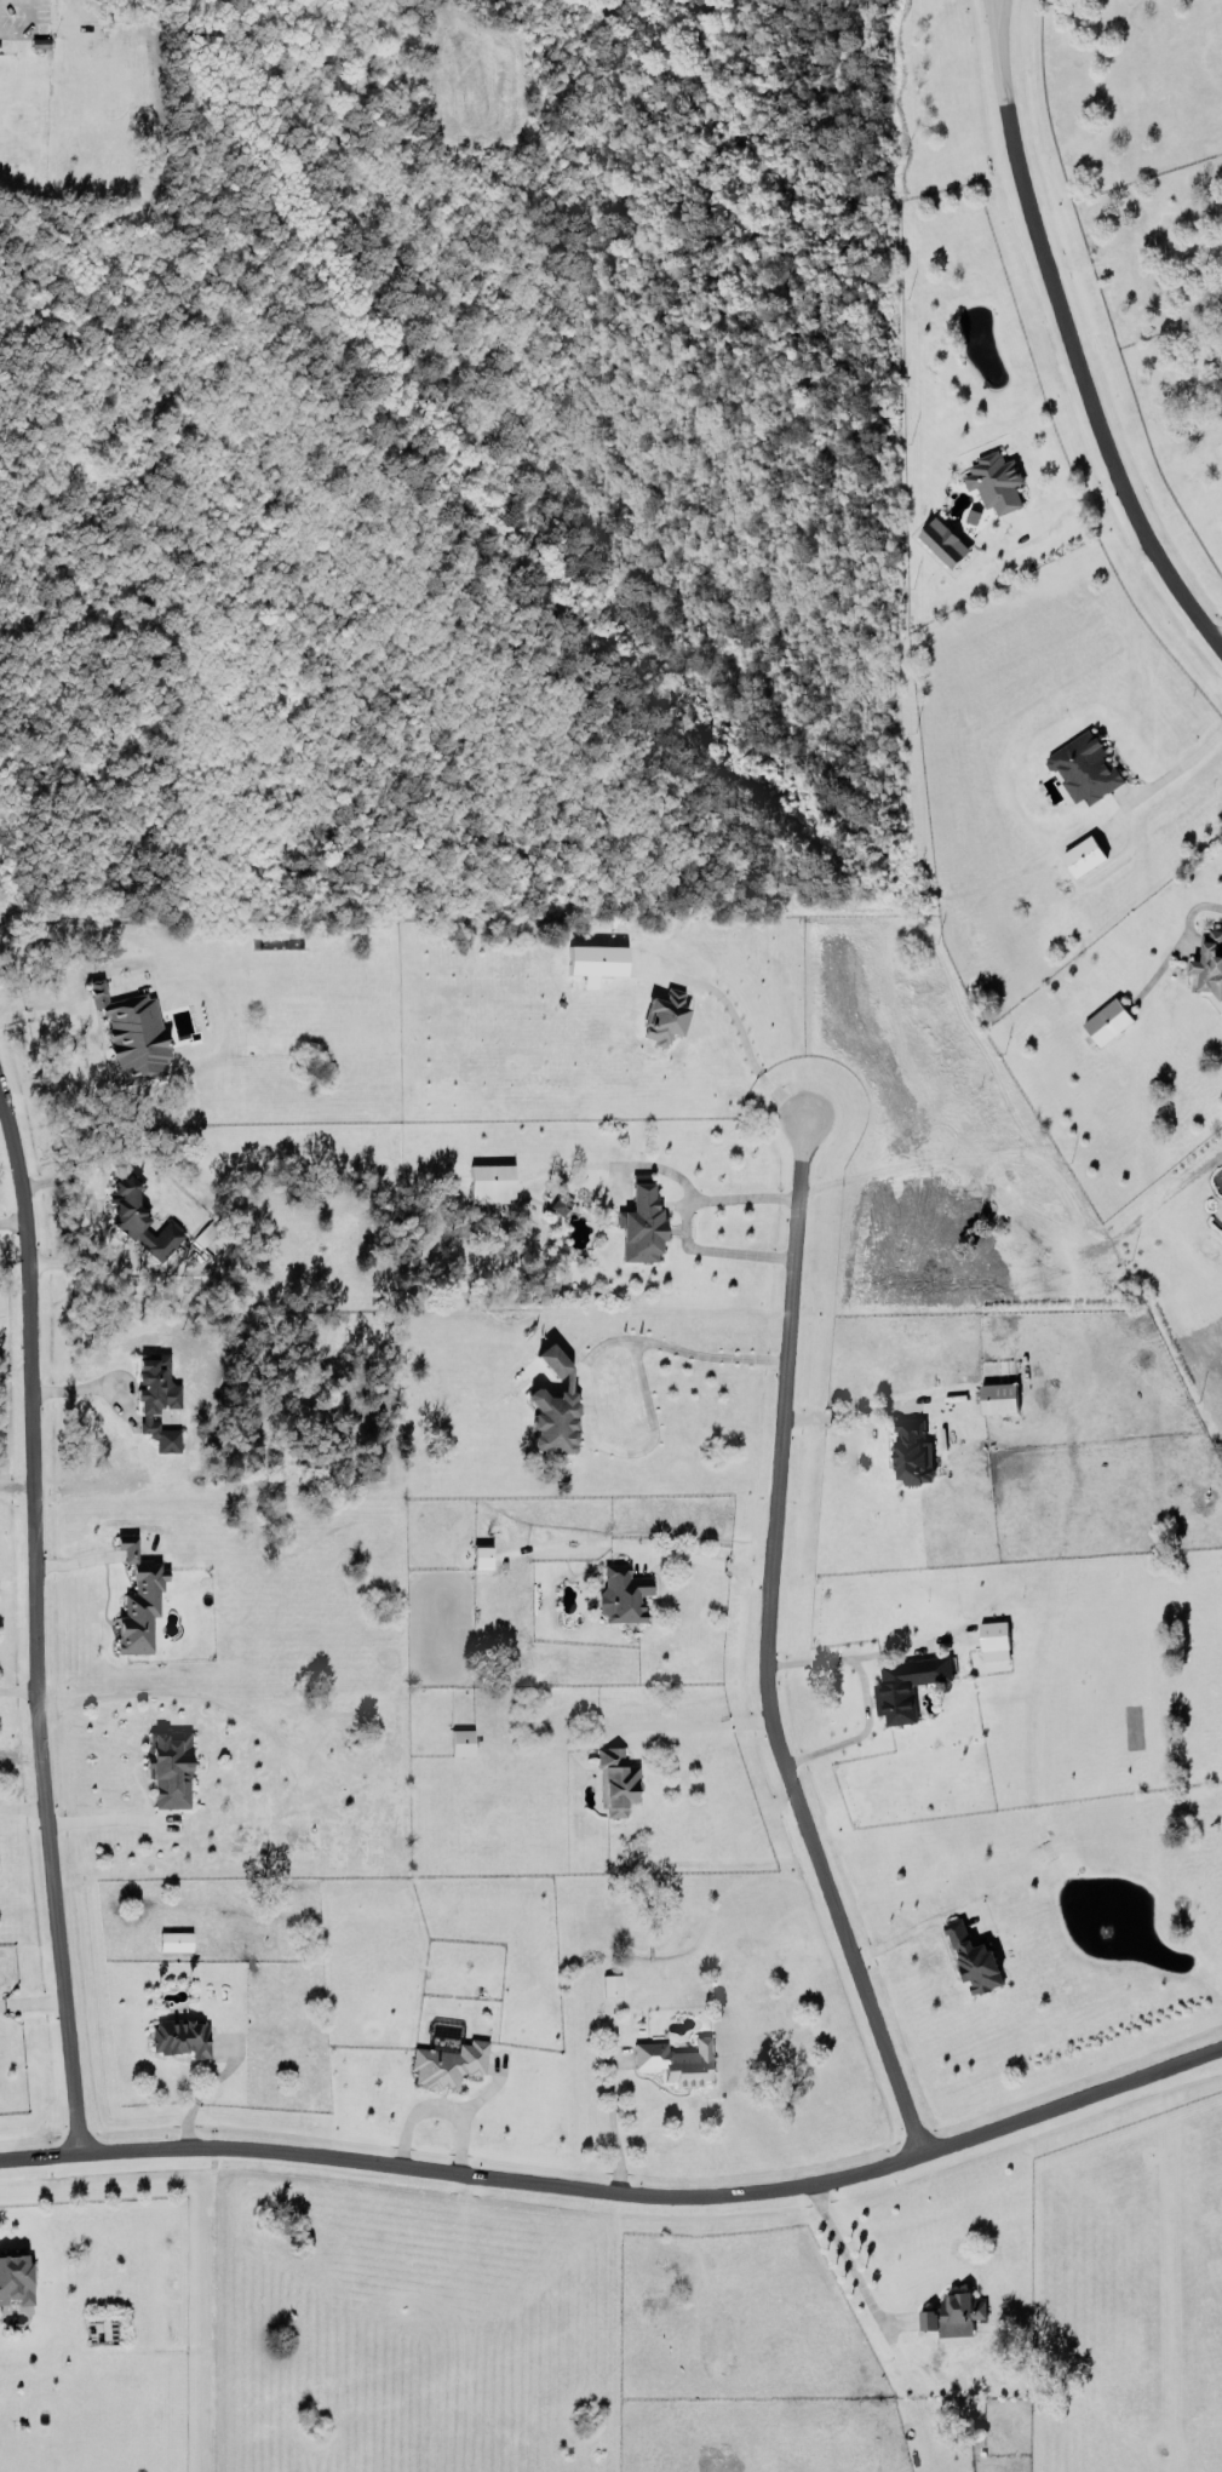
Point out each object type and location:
road: (23, 25)
road: (453, 28)
road: (1067, 340)
building: (994, 477)
building: (943, 540)
road: (1218, 641)
road: (1181, 762)
building: (1084, 763)
building: (1083, 854)
road: (1177, 939)
building: (595, 959)
building: (1210, 965)
road: (44, 1010)
building: (662, 1015)
building: (1107, 1020)
building: (131, 1032)
road: (751, 1055)
building: (489, 1181)
building: (560, 1201)
road: (91, 1209)
building: (138, 1215)
road: (684, 1217)
building: (639, 1221)
road: (707, 1352)
road: (104, 1380)
building: (998, 1395)
building: (156, 1399)
building: (552, 1405)
road: (843, 1412)
road: (623, 1449)
building: (911, 1450)
road: (15, 1484)
building: (121, 1542)
road: (702, 1555)
building: (621, 1590)
building: (138, 1602)
road: (33, 1627)
building: (993, 1639)
road: (762, 1642)
road: (880, 1648)
building: (907, 1682)
road: (17, 1688)
road: (857, 1692)
road: (688, 1721)
building: (460, 1739)
building: (168, 1766)
building: (614, 1777)
road: (22, 1806)
road: (101, 1817)
building: (174, 1939)
building: (975, 1955)
building: (610, 1983)
road: (31, 2001)
building: (675, 2057)
building: (448, 2061)
road: (201, 2089)
road: (436, 2107)
road: (609, 2115)
road: (620, 2190)
road: (845, 2260)
building: (12, 2275)
building: (959, 2311)
building: (928, 2317)

